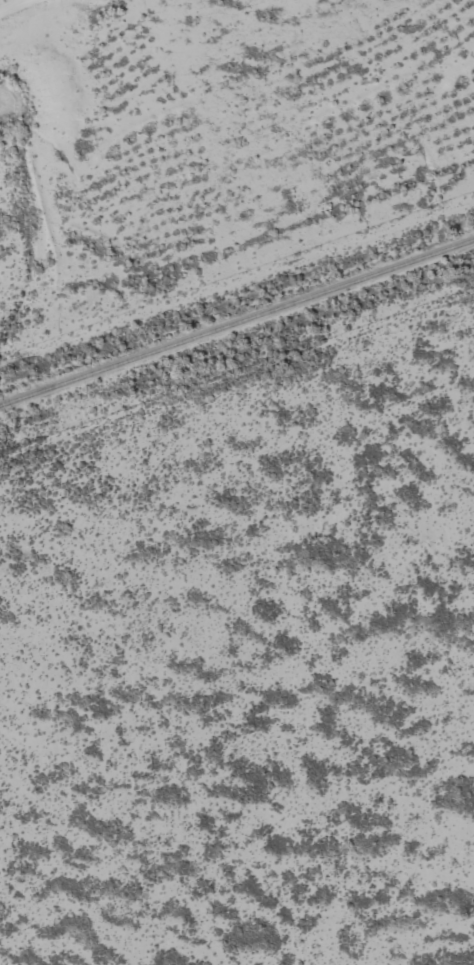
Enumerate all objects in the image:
road: (238, 242)
railway: (237, 322)
road: (237, 415)

